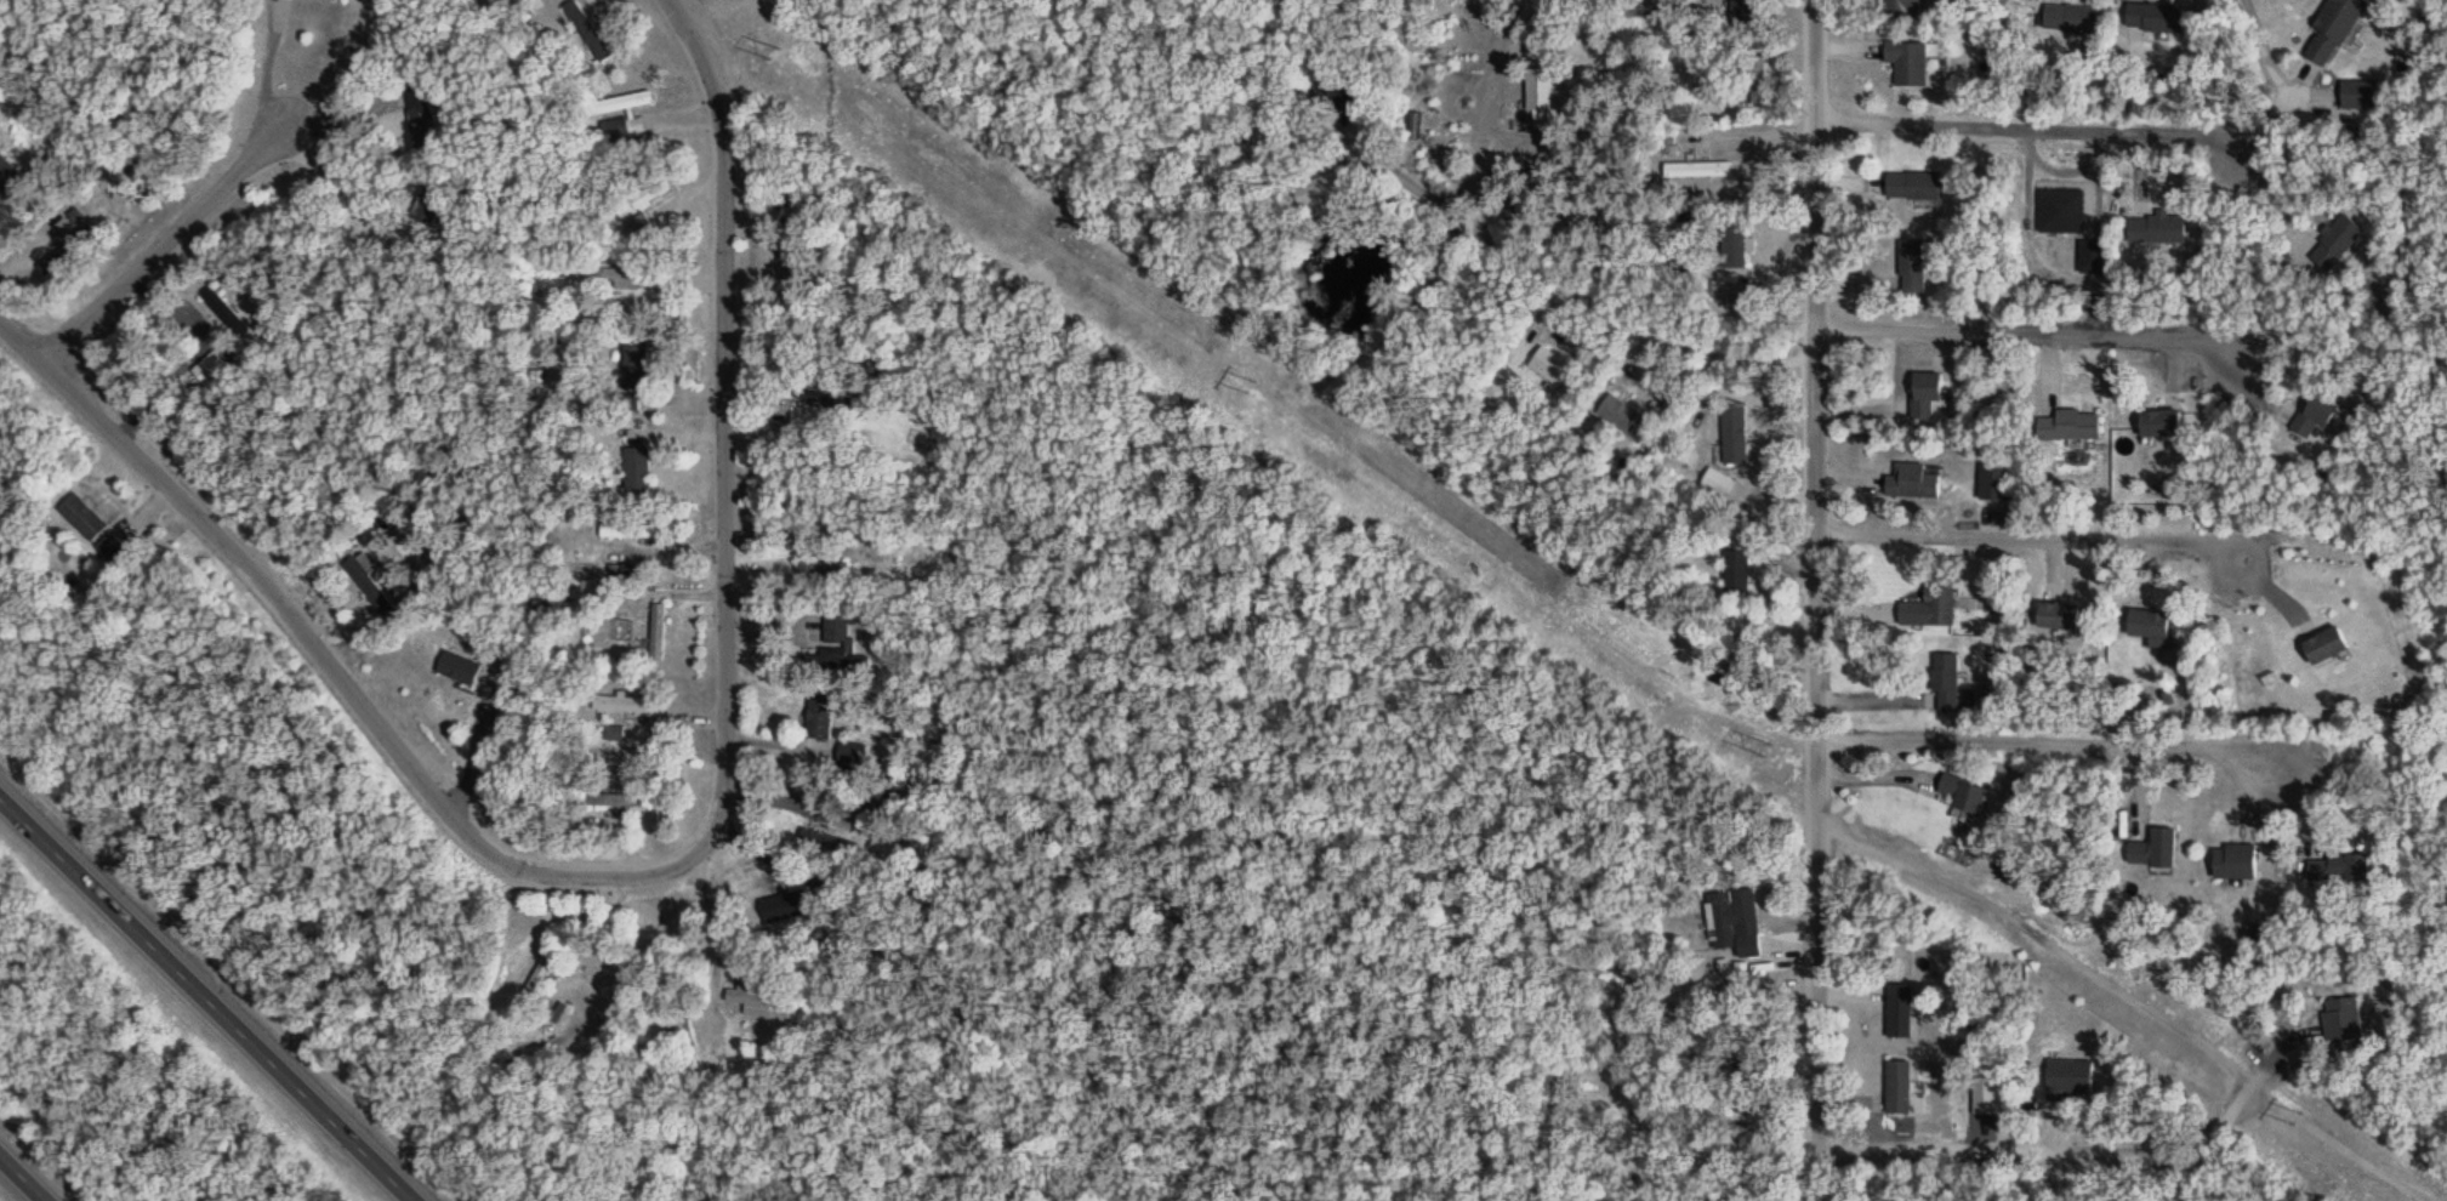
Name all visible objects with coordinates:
building: (328, 1)
building: (1900, 8)
building: (2155, 19)
building: (2070, 22)
building: (594, 30)
building: (2332, 32)
power tower: (778, 50)
road: (2267, 55)
building: (1907, 66)
road: (271, 70)
building: (1753, 79)
building: (2360, 98)
road: (687, 109)
building: (1541, 109)
building: (622, 120)
building: (1415, 130)
road: (2025, 133)
building: (1697, 173)
building: (6, 177)
road: (694, 189)
building: (1912, 189)
building: (1316, 197)
road: (353, 203)
building: (643, 203)
road: (751, 206)
building: (642, 230)
building: (2156, 233)
building: (2338, 246)
building: (1732, 249)
road: (165, 251)
road: (690, 271)
building: (1912, 271)
building: (613, 281)
road: (1571, 286)
building: (227, 317)
road: (2035, 341)
road: (725, 362)
building: (1549, 369)
building: (636, 370)
power tower: (1253, 378)
road: (684, 391)
building: (1925, 398)
building: (826, 404)
building: (624, 405)
building: (1618, 416)
building: (2314, 419)
building: (2157, 426)
road: (678, 428)
building: (2068, 428)
building: (1734, 437)
building: (637, 472)
building: (1913, 484)
building: (1717, 486)
building: (81, 519)
road: (764, 543)
road: (2037, 543)
building: (1736, 575)
building: (360, 581)
road: (698, 587)
road: (1827, 599)
building: (1931, 604)
building: (2058, 619)
road: (774, 626)
building: (2147, 627)
building: (837, 632)
building: (656, 633)
building: (2324, 649)
building: (457, 671)
building: (1946, 677)
road: (365, 701)
building: (620, 706)
road: (678, 716)
building: (819, 721)
road: (776, 735)
road: (2060, 735)
power tower: (1772, 746)
road: (473, 747)
building: (855, 757)
road: (764, 791)
building: (1963, 799)
building: (615, 802)
road: (756, 846)
building: (832, 847)
building: (2153, 853)
building: (2233, 865)
building: (2339, 870)
building: (797, 911)
building: (1735, 924)
road: (611, 928)
road: (534, 932)
road: (718, 934)
road: (727, 952)
building: (540, 979)
road: (215, 991)
building: (753, 1002)
building: (1899, 1014)
building: (2341, 1023)
road: (2231, 1068)
building: (2070, 1080)
building: (1899, 1091)
power tower: (2299, 1114)
road: (30, 1171)

